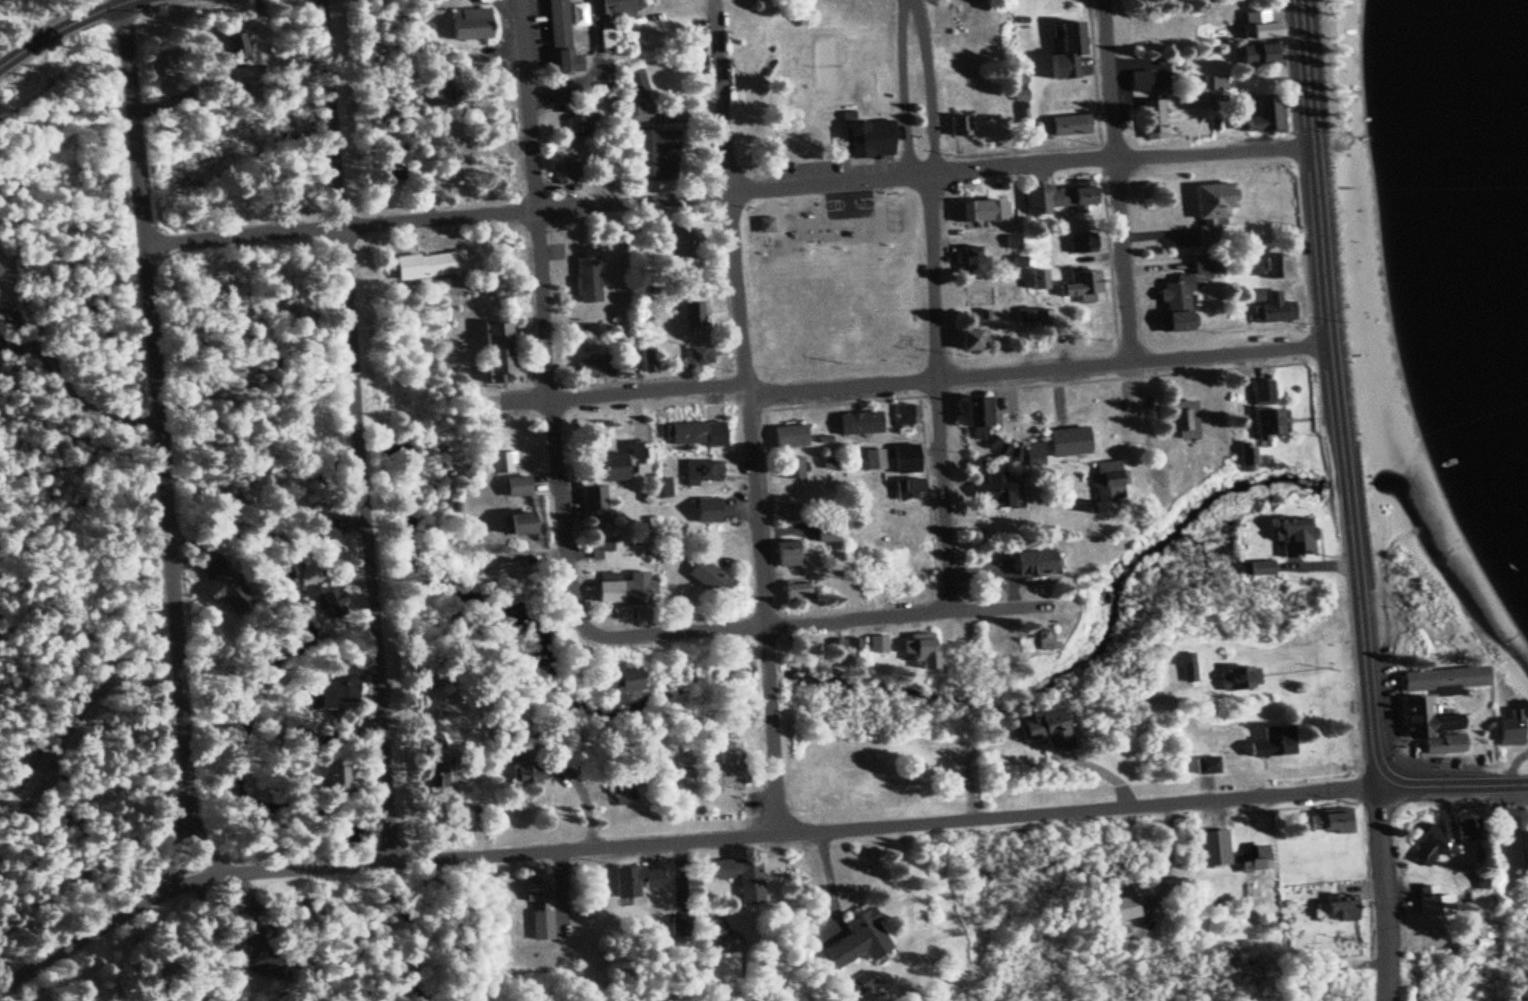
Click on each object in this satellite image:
road: (117, 1)
road: (126, 1)
building: (464, 15)
road: (43, 20)
building: (575, 26)
building: (1264, 28)
road: (6, 31)
building: (1073, 41)
building: (1259, 56)
building: (1144, 82)
building: (635, 83)
building: (1224, 85)
building: (1200, 99)
building: (635, 113)
building: (960, 116)
building: (1264, 116)
building: (851, 117)
building: (1157, 119)
building: (571, 123)
building: (1071, 126)
building: (871, 140)
building: (652, 150)
building: (564, 173)
road: (1120, 181)
road: (730, 189)
building: (1062, 197)
park: (853, 206)
building: (1215, 210)
building: (971, 212)
building: (766, 226)
building: (1084, 243)
building: (1, 259)
building: (973, 261)
building: (425, 267)
building: (584, 280)
building: (1040, 280)
building: (1084, 288)
building: (1176, 303)
road: (933, 305)
building: (1275, 309)
building: (698, 315)
road: (542, 316)
building: (1026, 317)
building: (973, 341)
building: (494, 354)
building: (699, 359)
building: (650, 360)
road: (914, 379)
road: (1337, 389)
building: (1268, 395)
road: (749, 417)
building: (907, 417)
building: (973, 417)
building: (1187, 421)
building: (1275, 424)
building: (858, 425)
road: (360, 428)
building: (698, 435)
building: (790, 438)
building: (1069, 444)
road: (156, 452)
building: (1032, 457)
building: (874, 461)
building: (1254, 461)
building: (625, 464)
building: (501, 465)
building: (905, 467)
building: (793, 469)
building: (704, 472)
building: (1110, 486)
building: (514, 488)
building: (665, 489)
building: (1001, 492)
building: (596, 499)
building: (705, 511)
building: (790, 513)
building: (519, 524)
building: (323, 533)
building: (1297, 537)
building: (789, 555)
building: (1032, 563)
building: (1263, 569)
building: (706, 577)
building: (639, 589)
building: (218, 593)
building: (799, 593)
building: (323, 602)
road: (815, 621)
building: (881, 646)
building: (927, 652)
building: (1192, 669)
building: (1243, 680)
building: (623, 681)
building: (1446, 681)
building: (337, 691)
building: (1435, 730)
building: (1044, 731)
building: (1514, 732)
building: (1276, 744)
road: (1181, 763)
building: (1208, 767)
building: (727, 768)
building: (521, 776)
building: (332, 780)
road: (1454, 786)
building: (618, 791)
road: (586, 802)
building: (1329, 825)
road: (678, 840)
building: (1214, 850)
building: (1431, 850)
road: (160, 853)
building: (1524, 854)
building: (1252, 862)
building: (737, 876)
building: (632, 883)
road: (1381, 888)
building: (1429, 903)
building: (533, 910)
building: (1334, 913)
building: (680, 930)
building: (854, 940)
building: (722, 969)
building: (862, 984)

